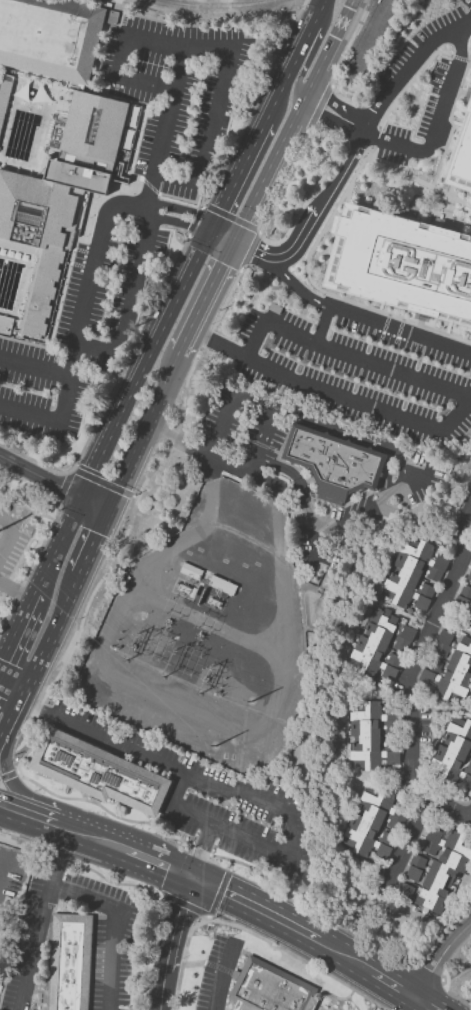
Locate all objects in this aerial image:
railway: (218, 3)
road: (323, 8)
road: (220, 9)
building: (51, 36)
road: (307, 41)
road: (221, 47)
road: (409, 64)
road: (297, 82)
building: (4, 101)
road: (254, 103)
road: (335, 113)
road: (294, 118)
building: (95, 125)
road: (167, 128)
road: (439, 129)
road: (446, 141)
building: (460, 155)
road: (428, 208)
road: (184, 211)
road: (230, 217)
road: (196, 220)
building: (45, 224)
road: (182, 224)
road: (467, 224)
traffic signals: (215, 226)
road: (309, 227)
traffic signals: (236, 238)
road: (249, 250)
road: (307, 260)
building: (400, 265)
road: (222, 269)
road: (94, 272)
road: (187, 280)
road: (294, 284)
road: (130, 302)
road: (420, 319)
building: (6, 324)
road: (325, 325)
road: (195, 326)
road: (401, 330)
road: (346, 353)
road: (35, 366)
road: (114, 387)
road: (334, 393)
road: (52, 418)
road: (147, 432)
road: (264, 438)
building: (335, 460)
traffic signals: (93, 469)
road: (40, 474)
road: (103, 482)
traffic signals: (62, 485)
road: (62, 488)
road: (398, 491)
road: (95, 503)
traffic signals: (110, 511)
road: (131, 514)
road: (8, 533)
traffic signals: (98, 534)
road: (93, 542)
parking lot: (12, 545)
road: (57, 546)
road: (30, 568)
building: (469, 575)
building: (415, 576)
road: (16, 589)
building: (465, 600)
road: (16, 632)
power substation: (208, 636)
building: (404, 638)
building: (443, 642)
building: (379, 648)
road: (38, 655)
road: (418, 679)
road: (11, 686)
building: (369, 740)
building: (453, 753)
building: (98, 772)
road: (8, 774)
road: (215, 789)
road: (44, 803)
road: (102, 806)
road: (176, 808)
road: (33, 818)
road: (20, 821)
building: (374, 826)
road: (96, 839)
road: (411, 842)
road: (20, 846)
road: (201, 850)
road: (203, 850)
road: (160, 860)
building: (441, 865)
building: (415, 867)
traffic signals: (193, 876)
road: (104, 877)
building: (405, 890)
road: (258, 912)
road: (324, 912)
road: (211, 914)
road: (40, 919)
road: (116, 921)
road: (176, 922)
road: (451, 928)
road: (284, 951)
road: (348, 958)
road: (440, 958)
building: (70, 962)
road: (432, 971)
road: (457, 971)
road: (181, 973)
road: (222, 977)
road: (387, 981)
building: (272, 989)
road: (158, 990)
road: (448, 992)
road: (409, 995)
road: (399, 1001)
road: (422, 1004)
road: (430, 1009)

